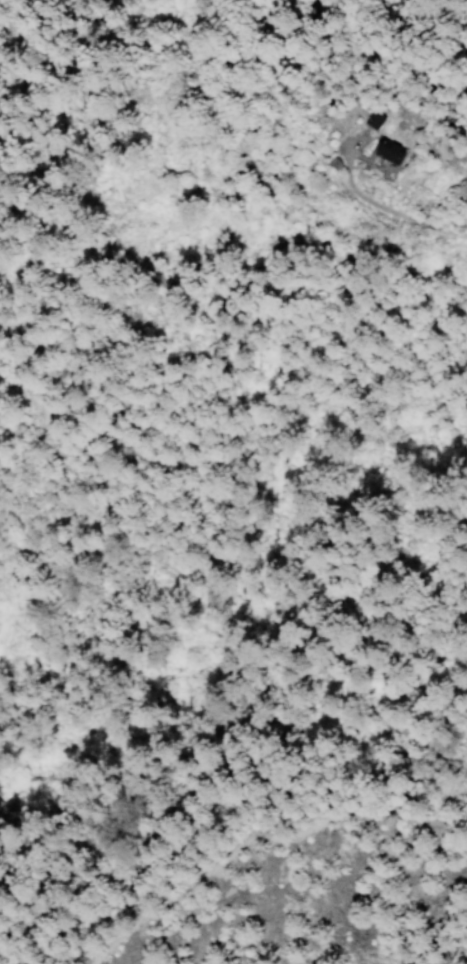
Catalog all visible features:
building: (392, 154)
road: (381, 206)
road: (258, 832)

